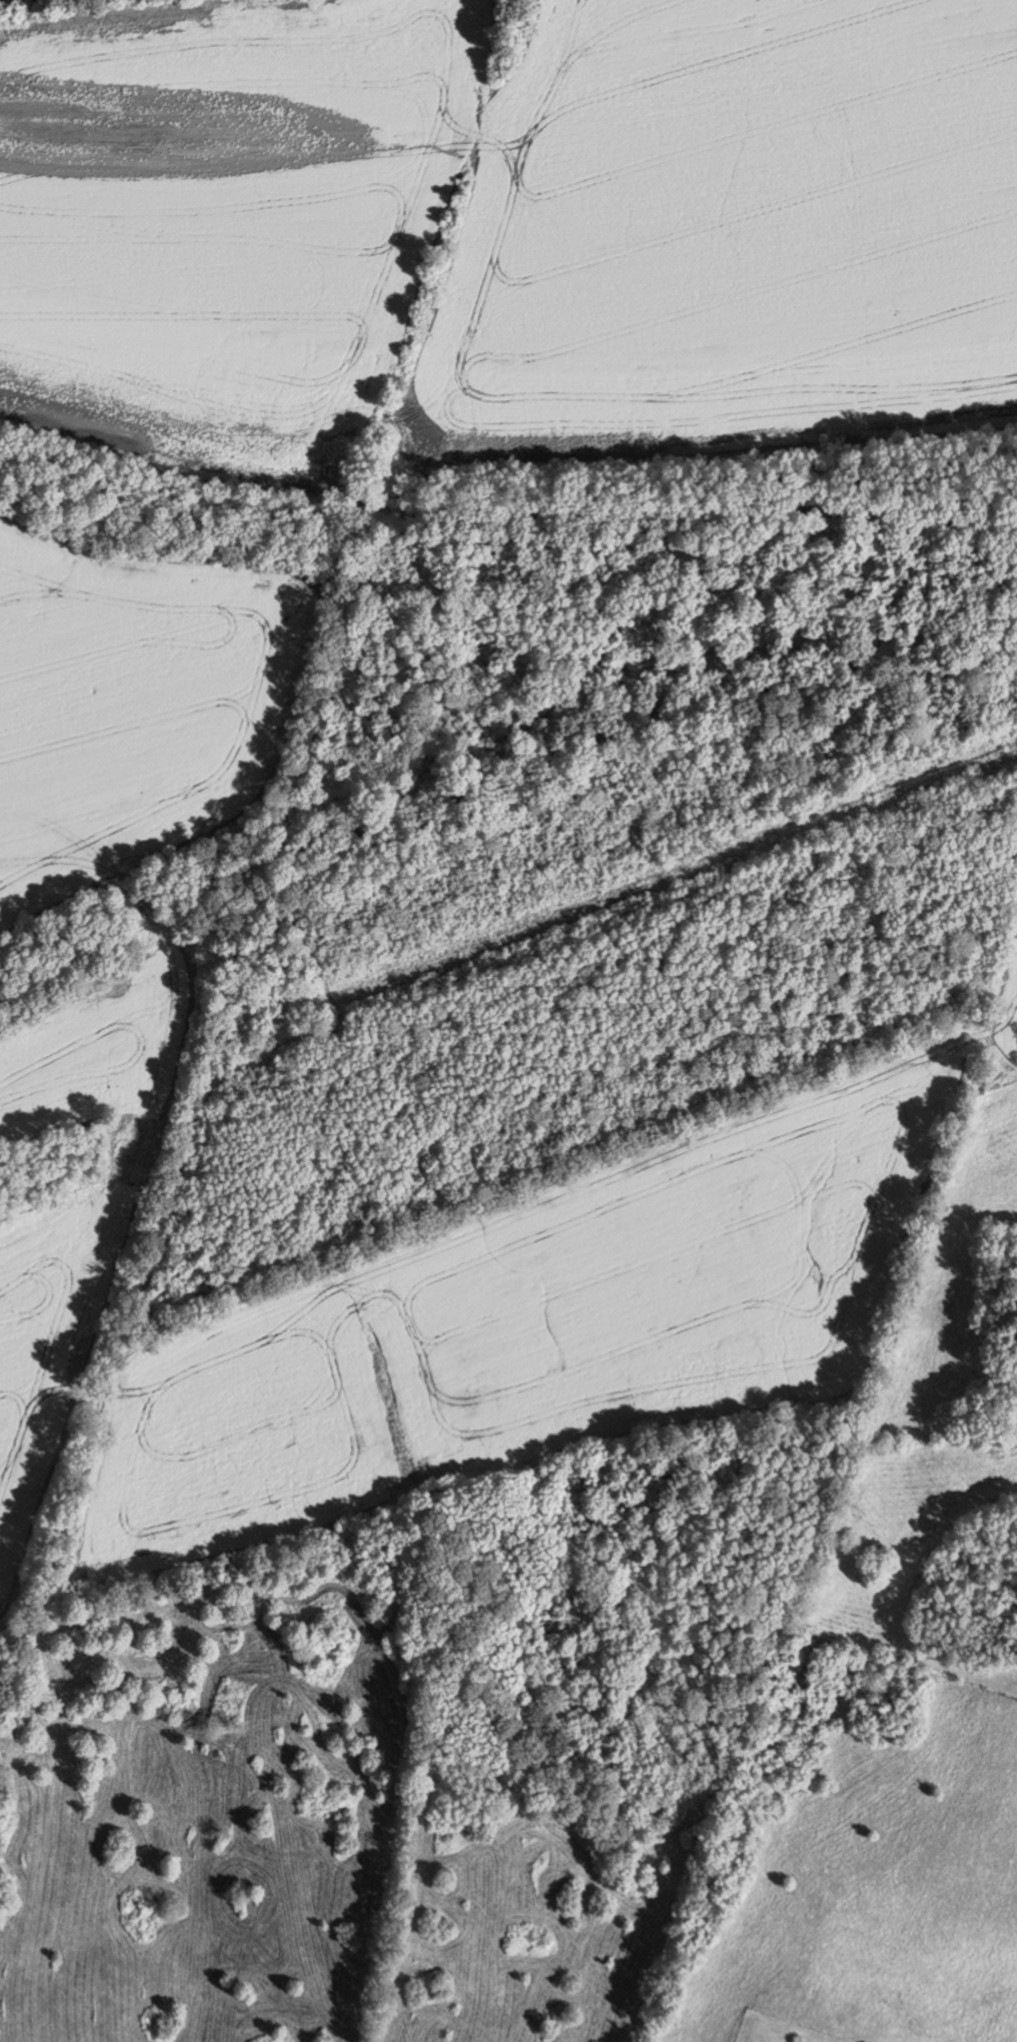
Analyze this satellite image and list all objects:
road: (965, 1810)

